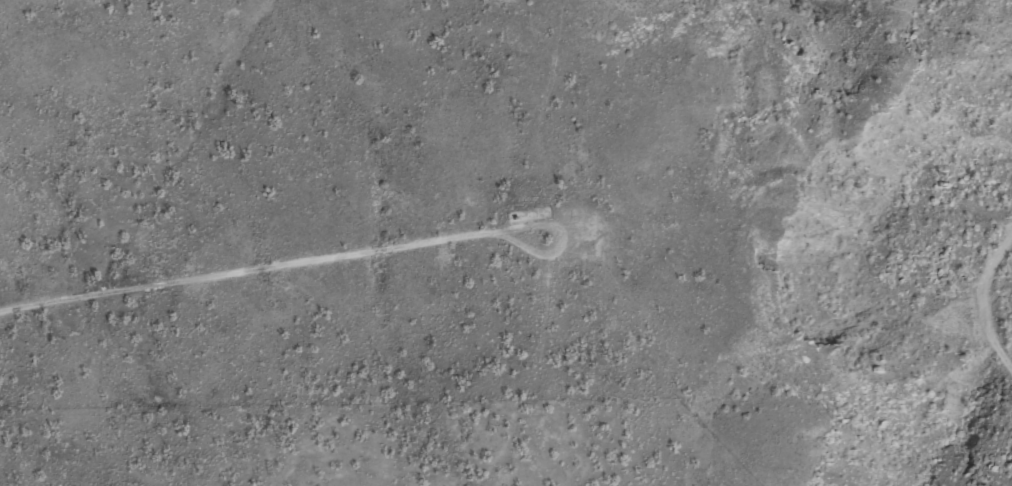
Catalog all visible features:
road: (514, 116)
road: (248, 276)
road: (990, 307)

